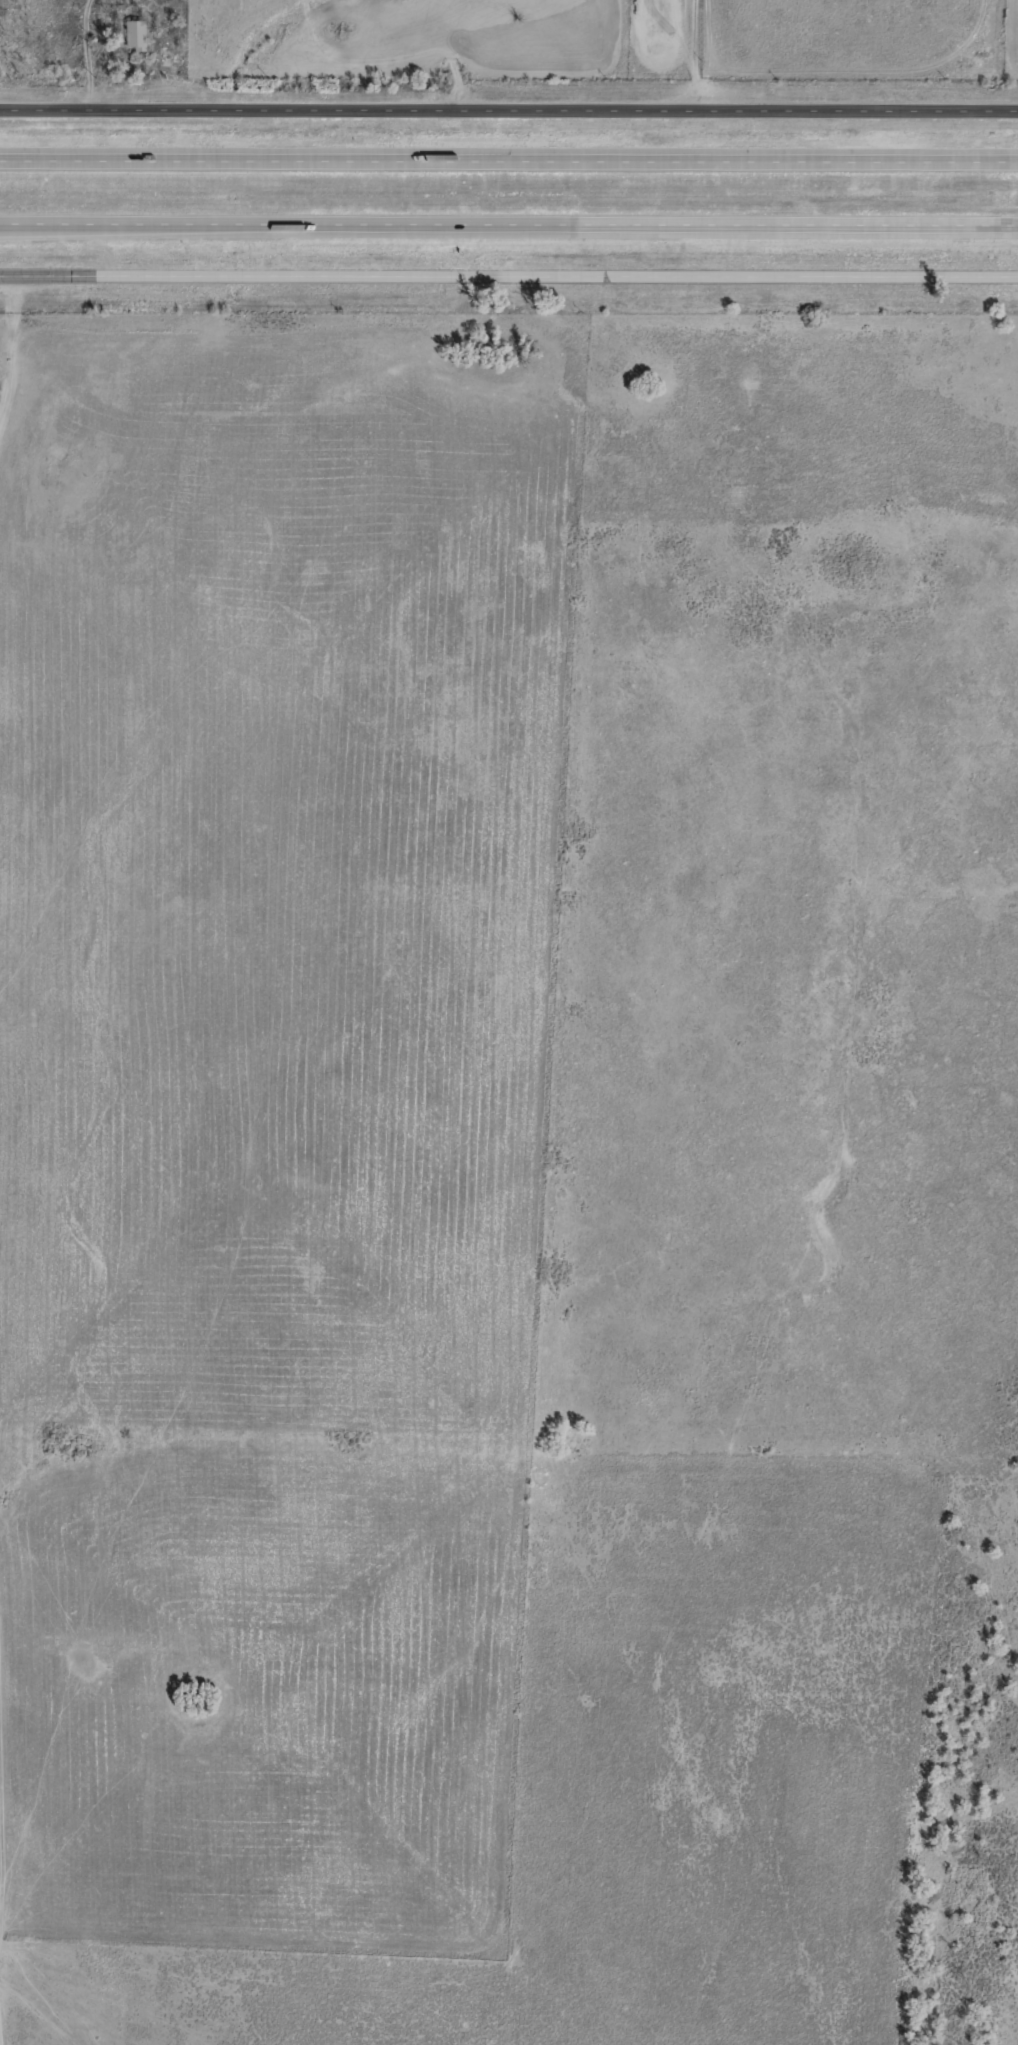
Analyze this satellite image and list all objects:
building: (134, 34)
road: (392, 66)
road: (509, 108)
road: (509, 158)
road: (508, 224)
road: (508, 272)

